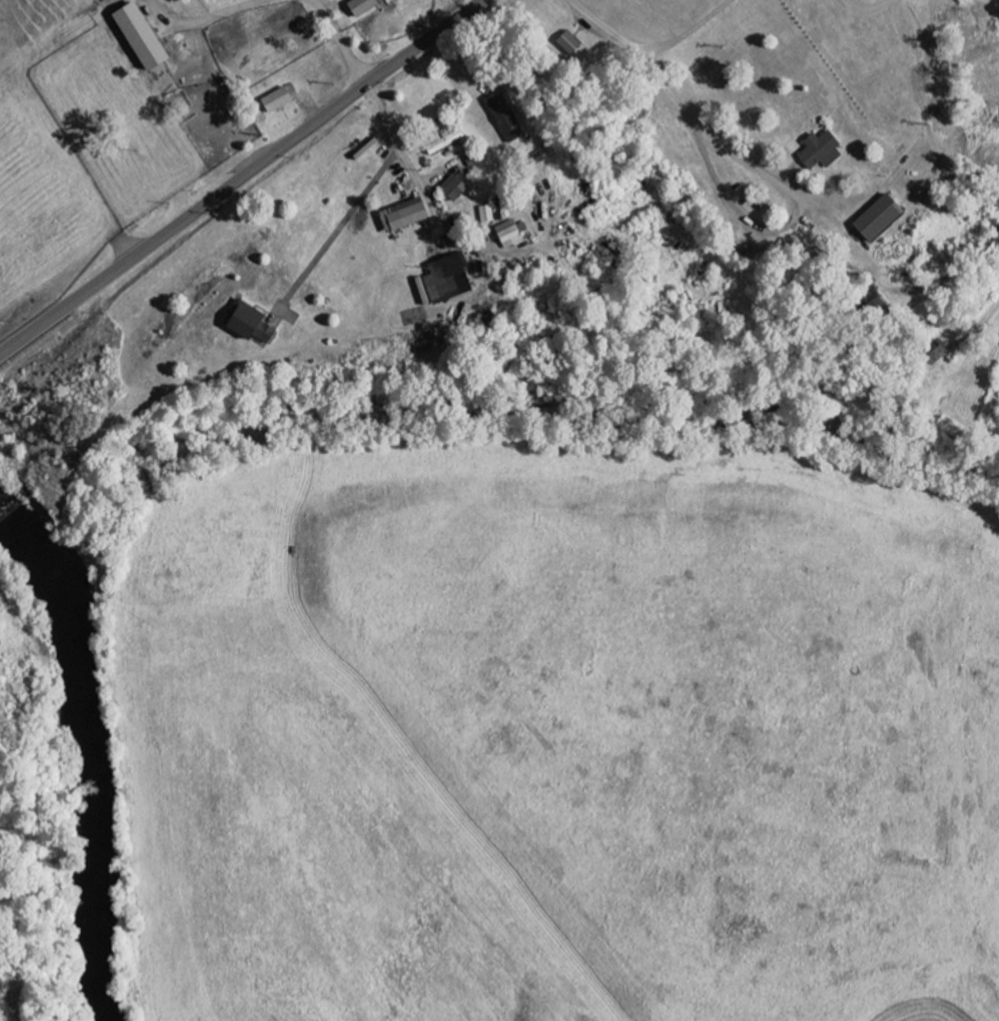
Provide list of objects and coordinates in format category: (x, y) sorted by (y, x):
building: (367, 7)
building: (148, 38)
building: (281, 100)
road: (689, 106)
building: (509, 118)
building: (824, 152)
road: (242, 178)
building: (458, 189)
building: (491, 214)
building: (407, 216)
building: (884, 218)
building: (515, 234)
building: (451, 279)
building: (257, 327)
river: (91, 751)

